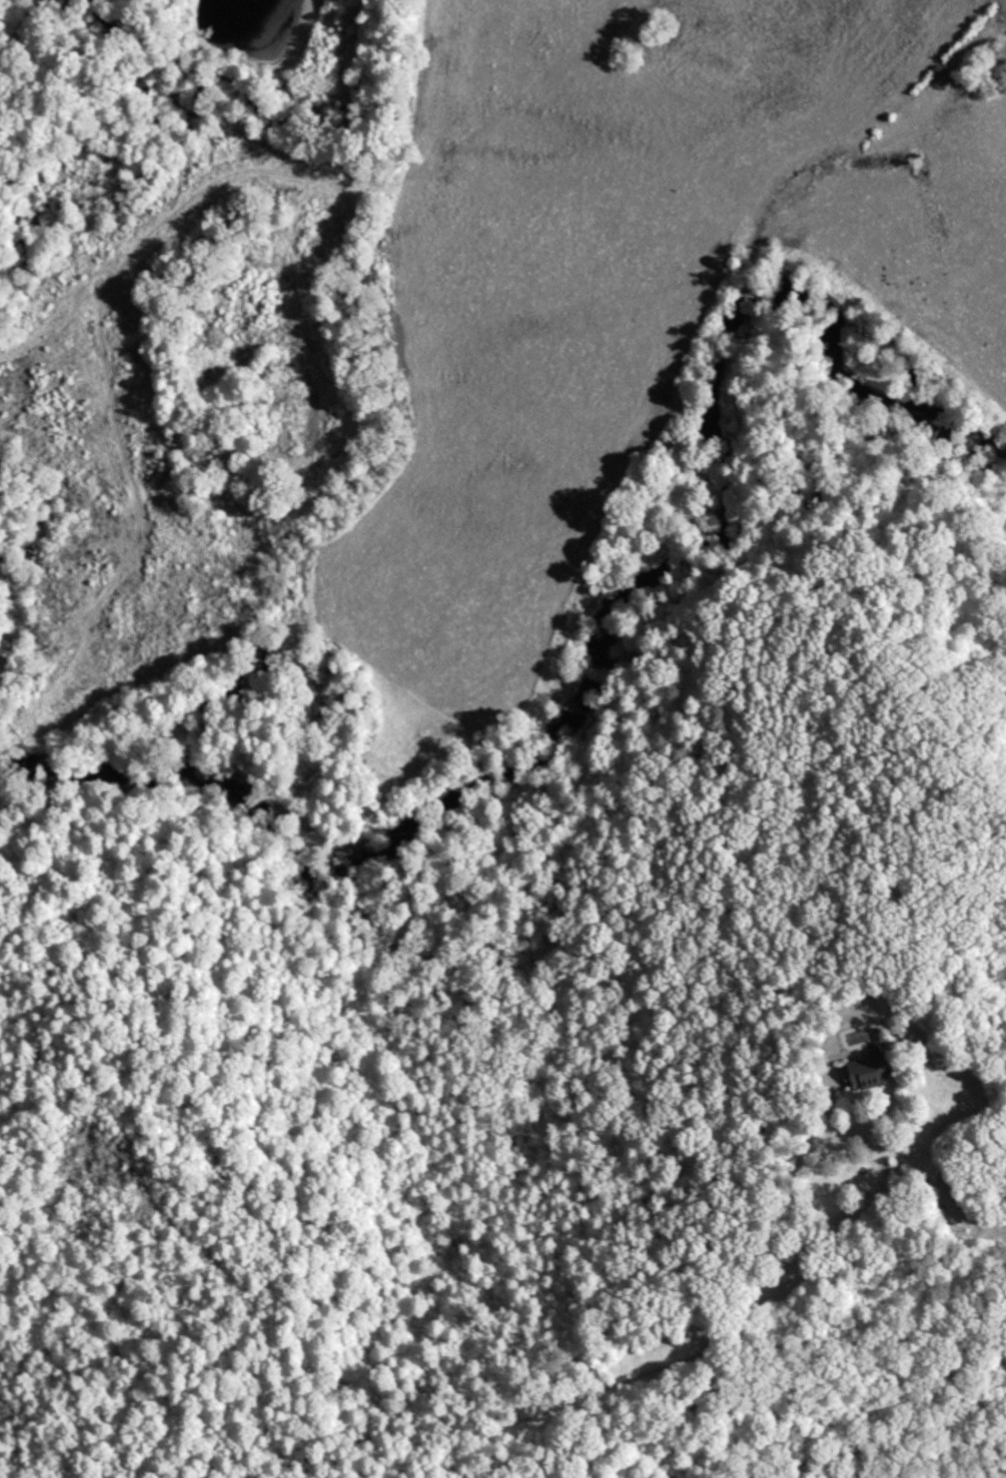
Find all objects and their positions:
building: (863, 1072)

